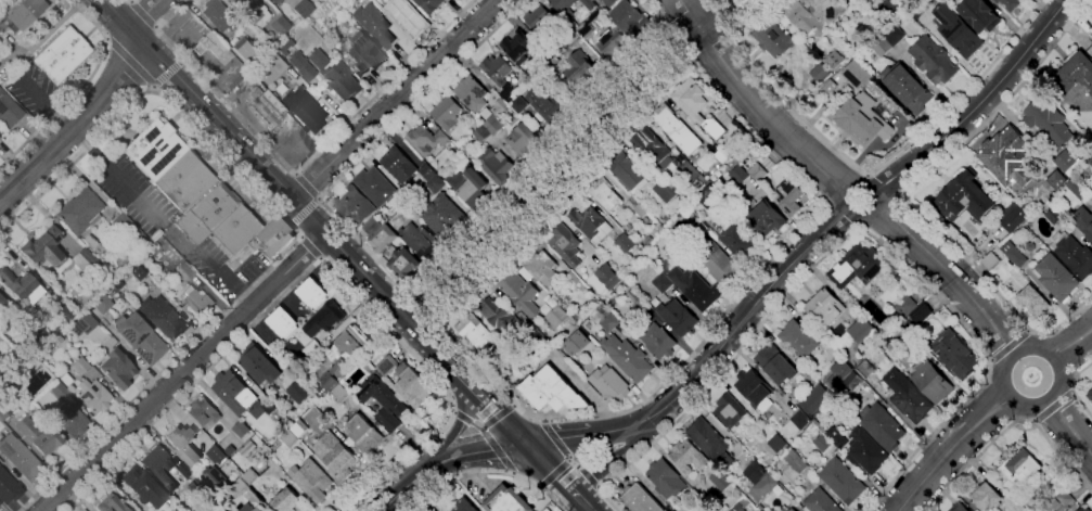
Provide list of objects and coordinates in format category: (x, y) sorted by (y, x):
building: (268, 0)
building: (375, 0)
building: (592, 0)
building: (272, 1)
building: (609, 2)
building: (426, 3)
building: (1010, 3)
building: (304, 7)
building: (564, 7)
building: (917, 7)
building: (826, 10)
building: (252, 11)
building: (24, 13)
road: (145, 15)
building: (218, 15)
building: (979, 15)
building: (411, 18)
building: (629, 18)
building: (801, 18)
building: (374, 25)
building: (280, 26)
building: (580, 28)
building: (958, 30)
building: (895, 34)
building: (528, 35)
building: (1090, 35)
building: (774, 38)
building: (310, 40)
building: (589, 41)
building: (1091, 41)
building: (614, 43)
building: (208, 44)
building: (284, 44)
building: (342, 44)
building: (881, 44)
building: (242, 48)
building: (551, 48)
building: (62, 54)
building: (363, 54)
building: (543, 55)
building: (834, 60)
building: (934, 60)
road: (130, 61)
building: (554, 61)
building: (301, 66)
building: (579, 67)
building: (270, 68)
road: (168, 71)
building: (1076, 71)
building: (820, 73)
building: (857, 74)
building: (335, 77)
building: (503, 80)
building: (277, 86)
building: (828, 87)
building: (905, 87)
road: (79, 89)
building: (472, 93)
building: (1091, 93)
road: (397, 99)
building: (547, 103)
road: (755, 103)
road: (980, 105)
building: (697, 106)
building: (265, 108)
building: (11, 112)
building: (311, 113)
building: (448, 113)
building: (498, 116)
road: (75, 119)
building: (865, 119)
building: (1048, 124)
building: (671, 125)
building: (466, 131)
building: (481, 133)
road: (273, 138)
building: (524, 139)
building: (428, 141)
parking lot: (292, 142)
building: (459, 144)
building: (652, 148)
building: (717, 152)
building: (1005, 152)
building: (729, 161)
building: (1090, 161)
building: (399, 164)
road: (571, 164)
building: (496, 165)
building: (1064, 166)
building: (754, 168)
road: (297, 170)
building: (628, 170)
building: (738, 174)
road: (114, 175)
building: (693, 175)
road: (864, 176)
building: (432, 178)
road: (278, 181)
road: (307, 186)
building: (375, 186)
building: (470, 188)
building: (1079, 189)
building: (666, 190)
road: (810, 192)
building: (403, 193)
road: (901, 193)
building: (605, 194)
building: (709, 196)
building: (203, 197)
building: (789, 197)
building: (964, 197)
building: (632, 202)
building: (694, 203)
building: (678, 206)
building: (356, 207)
building: (79, 210)
building: (641, 210)
road: (305, 213)
building: (1054, 214)
road: (857, 216)
building: (1013, 216)
building: (694, 217)
building: (765, 217)
building: (445, 218)
building: (1083, 221)
building: (591, 225)
road: (287, 226)
building: (372, 226)
building: (699, 228)
building: (127, 229)
road: (855, 230)
building: (415, 233)
building: (155, 235)
building: (383, 239)
building: (1057, 239)
building: (90, 241)
building: (740, 241)
building: (626, 243)
building: (566, 244)
building: (1030, 246)
road: (309, 247)
building: (44, 250)
building: (1014, 254)
building: (684, 256)
building: (1076, 256)
road: (317, 261)
building: (717, 261)
building: (990, 261)
building: (86, 263)
building: (862, 263)
building: (404, 264)
road: (214, 265)
building: (999, 266)
building: (542, 267)
building: (666, 267)
building: (184, 272)
building: (608, 277)
road: (950, 278)
building: (1019, 278)
building: (1056, 278)
building: (571, 280)
building: (661, 282)
building: (21, 285)
road: (407, 286)
building: (696, 288)
building: (518, 289)
building: (313, 294)
building: (0, 298)
building: (198, 301)
building: (1033, 301)
building: (639, 302)
building: (0, 304)
building: (101, 304)
road: (423, 304)
building: (824, 307)
building: (913, 309)
building: (537, 312)
building: (67, 315)
building: (498, 315)
building: (557, 316)
building: (163, 317)
building: (678, 317)
building: (322, 321)
building: (609, 322)
building: (283, 323)
building: (82, 324)
road: (732, 329)
building: (475, 332)
building: (864, 332)
building: (140, 337)
building: (535, 337)
building: (798, 340)
building: (578, 341)
building: (658, 341)
building: (839, 344)
road: (1009, 346)
road: (1072, 347)
building: (313, 349)
building: (820, 352)
building: (955, 354)
building: (628, 358)
building: (295, 360)
building: (343, 360)
building: (66, 361)
building: (776, 365)
building: (80, 366)
building: (260, 366)
building: (116, 367)
building: (513, 367)
road: (454, 369)
building: (22, 370)
building: (865, 370)
road: (181, 372)
building: (839, 372)
building: (407, 381)
building: (852, 381)
building: (932, 381)
building: (53, 382)
building: (609, 384)
building: (753, 387)
road: (1074, 387)
building: (60, 391)
building: (552, 391)
building: (234, 392)
building: (296, 392)
building: (93, 395)
building: (1090, 396)
building: (814, 399)
building: (911, 399)
building: (383, 401)
road: (1043, 401)
building: (269, 407)
road: (492, 408)
road: (1054, 408)
building: (731, 409)
building: (4, 410)
building: (203, 412)
building: (766, 414)
road: (496, 418)
building: (800, 419)
building: (73, 421)
building: (378, 423)
road: (460, 423)
building: (882, 426)
road: (1069, 427)
building: (299, 429)
building: (240, 433)
building: (365, 434)
building: (38, 435)
building: (179, 436)
road: (486, 437)
road: (567, 437)
building: (288, 438)
road: (554, 438)
building: (708, 443)
traffic signals: (526, 444)
building: (778, 444)
building: (247, 447)
road: (951, 449)
road: (477, 450)
building: (865, 451)
road: (1061, 453)
building: (217, 455)
building: (335, 456)
building: (686, 456)
building: (20, 457)
road: (617, 458)
road: (976, 460)
building: (795, 461)
road: (573, 462)
building: (837, 467)
building: (1019, 468)
building: (152, 469)
building: (187, 470)
building: (755, 472)
road: (489, 473)
road: (554, 474)
building: (250, 476)
road: (557, 476)
road: (588, 478)
building: (666, 478)
building: (215, 480)
building: (311, 480)
building: (720, 480)
building: (139, 483)
building: (239, 487)
building: (763, 487)
building: (8, 488)
road: (407, 488)
building: (209, 496)
building: (986, 497)
building: (165, 499)
building: (640, 499)
building: (286, 500)
building: (508, 500)
building: (821, 501)
building: (1059, 501)
building: (110, 503)
building: (1027, 504)
building: (465, 506)
building: (216, 508)
building: (249, 508)
building: (737, 508)
building: (960, 508)
building: (792, 509)
building: (1083, 509)
building: (703, 510)
building: (1091, 510)

